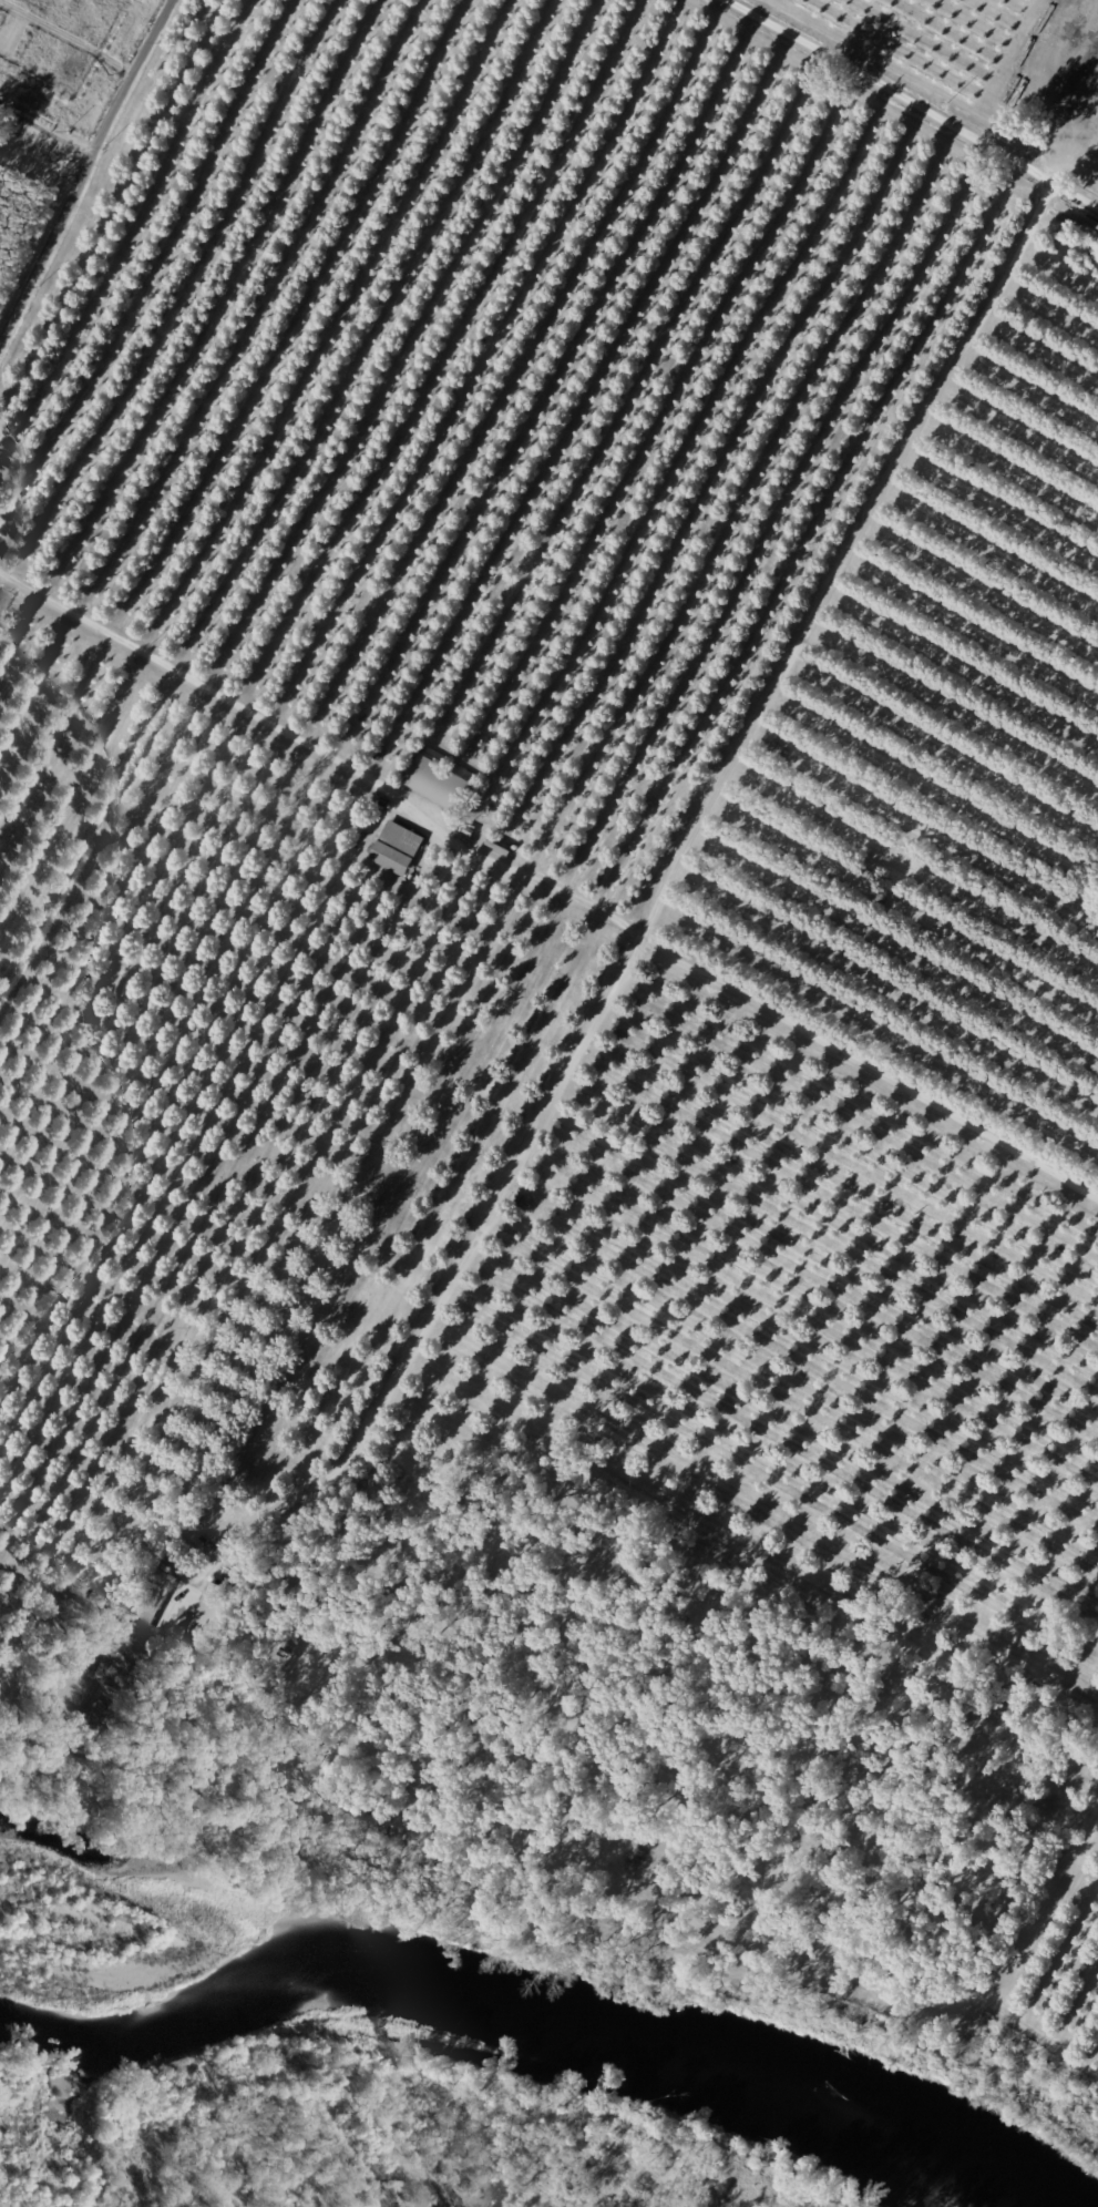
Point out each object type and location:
crop: (979, 65)
road: (910, 104)
road: (40, 136)
road: (80, 156)
building: (1067, 219)
building: (774, 747)
road: (324, 754)
building: (441, 785)
road: (708, 819)
building: (471, 832)
building: (398, 849)
road: (871, 1069)
building: (214, 1618)
building: (140, 1629)
building: (92, 1726)
building: (425, 1789)
building: (381, 1821)
river: (553, 1996)

